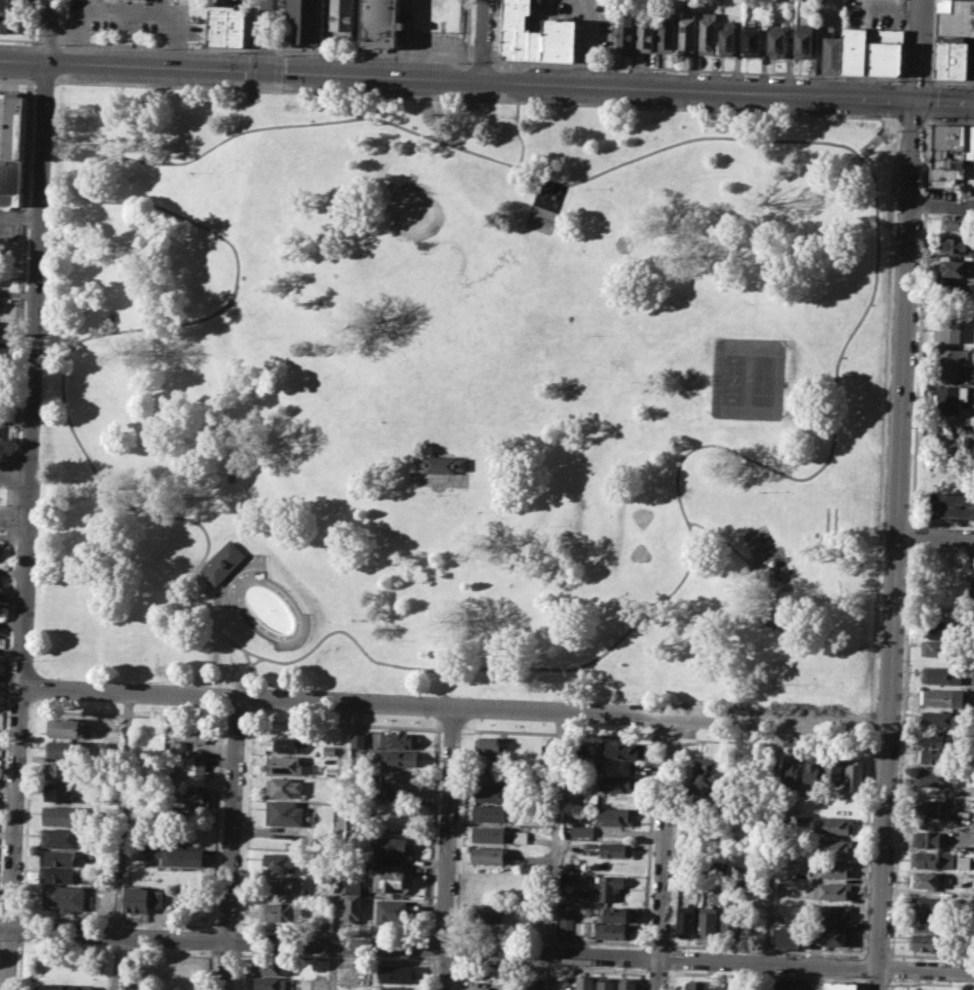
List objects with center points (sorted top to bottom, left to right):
building: (8, 5)
building: (342, 14)
park: (437, 15)
road: (129, 17)
building: (956, 17)
road: (62, 21)
building: (305, 21)
building: (7, 23)
building: (381, 23)
building: (518, 23)
building: (218, 24)
road: (280, 25)
building: (237, 26)
road: (47, 30)
building: (686, 31)
building: (665, 33)
building: (706, 33)
road: (264, 34)
road: (468, 34)
road: (33, 36)
street lamp: (35, 36)
building: (645, 37)
building: (559, 38)
building: (624, 38)
building: (726, 38)
road: (34, 40)
road: (46, 40)
road: (481, 40)
building: (777, 40)
road: (933, 40)
street lamp: (17, 41)
building: (750, 41)
building: (802, 41)
road: (64, 42)
building: (509, 42)
parking lot: (435, 43)
building: (535, 44)
road: (158, 46)
road: (252, 50)
road: (264, 50)
building: (855, 50)
road: (918, 50)
road: (278, 51)
building: (885, 51)
building: (830, 54)
road: (375, 56)
building: (944, 57)
building: (960, 59)
road: (63, 61)
road: (481, 61)
road: (251, 66)
road: (278, 68)
traffic signals: (263, 69)
road: (697, 69)
street lamp: (931, 69)
road: (17, 79)
road: (463, 79)
road: (57, 80)
road: (487, 80)
road: (895, 80)
road: (917, 80)
road: (952, 80)
road: (44, 81)
road: (250, 84)
road: (277, 85)
road: (252, 90)
road: (461, 94)
road: (475, 99)
road: (894, 100)
road: (471, 101)
street lamp: (586, 102)
street lamp: (54, 103)
street lamp: (806, 112)
road: (336, 120)
road: (894, 120)
road: (912, 121)
road: (949, 121)
road: (897, 123)
street lamp: (924, 126)
road: (889, 127)
building: (948, 136)
road: (802, 140)
building: (969, 142)
road: (868, 146)
building: (12, 148)
building: (938, 152)
building: (941, 162)
street lamp: (188, 171)
building: (945, 174)
street lamp: (50, 200)
road: (943, 204)
road: (178, 214)
street lamp: (921, 214)
building: (959, 221)
park: (417, 229)
building: (958, 244)
road: (23, 267)
building: (954, 267)
building: (955, 291)
street lamp: (45, 297)
street lamp: (746, 302)
park: (453, 306)
street lamp: (916, 315)
building: (947, 329)
street lamp: (587, 334)
building: (955, 364)
road: (33, 374)
park: (748, 378)
street lamp: (631, 380)
street lamp: (161, 384)
park: (466, 394)
street lamp: (41, 398)
building: (952, 399)
road: (884, 415)
road: (70, 423)
street lamp: (911, 426)
road: (7, 454)
building: (440, 463)
road: (14, 476)
street lamp: (0, 486)
road: (13, 494)
street lamp: (439, 495)
street lamp: (39, 498)
building: (953, 505)
street lamp: (909, 511)
park: (641, 516)
road: (13, 518)
street lamp: (924, 526)
road: (935, 536)
road: (5, 537)
road: (896, 544)
street lamp: (908, 551)
park: (640, 552)
road: (742, 555)
building: (223, 562)
street lamp: (36, 573)
road: (210, 583)
road: (639, 621)
building: (941, 630)
road: (221, 632)
street lamp: (394, 640)
building: (940, 648)
street lamp: (33, 660)
road: (256, 660)
street lamp: (902, 660)
road: (5, 665)
building: (941, 675)
street lamp: (49, 677)
street lamp: (147, 681)
street lamp: (243, 685)
street lamp: (342, 689)
street lamp: (447, 694)
building: (942, 697)
street lamp: (552, 699)
road: (249, 700)
street lamp: (647, 703)
road: (455, 707)
street lamp: (752, 707)
street lamp: (860, 713)
road: (126, 714)
building: (938, 718)
road: (224, 719)
road: (236, 719)
road: (343, 723)
road: (871, 723)
building: (69, 727)
street lamp: (245, 728)
road: (450, 728)
building: (189, 732)
road: (555, 732)
street lamp: (461, 733)
road: (665, 738)
building: (938, 738)
building: (356, 739)
building: (398, 739)
road: (774, 741)
street lamp: (678, 742)
building: (285, 743)
building: (492, 747)
building: (64, 748)
building: (329, 749)
building: (622, 750)
building: (937, 755)
building: (395, 757)
street lamp: (25, 764)
building: (286, 764)
building: (833, 769)
building: (60, 770)
building: (192, 771)
building: (811, 771)
building: (789, 773)
building: (854, 773)
building: (493, 776)
building: (938, 776)
building: (705, 777)
building: (399, 778)
building: (616, 782)
building: (283, 787)
building: (59, 792)
building: (490, 794)
building: (189, 799)
building: (932, 808)
road: (122, 813)
building: (489, 813)
building: (62, 814)
building: (288, 816)
building: (615, 816)
road: (244, 822)
building: (831, 824)
building: (581, 830)
road: (432, 833)
building: (497, 834)
road: (459, 835)
building: (61, 837)
road: (14, 839)
building: (929, 839)
road: (231, 843)
road: (339, 846)
building: (832, 846)
building: (391, 847)
road: (865, 847)
road: (446, 848)
building: (615, 849)
road: (555, 850)
road: (661, 853)
building: (177, 854)
building: (488, 855)
road: (770, 855)
building: (58, 856)
building: (933, 859)
building: (278, 860)
building: (963, 861)
building: (707, 867)
building: (832, 868)
street lamp: (20, 872)
building: (57, 873)
building: (104, 875)
building: (924, 879)
building: (390, 881)
building: (281, 883)
building: (607, 887)
building: (830, 890)
building: (63, 896)
building: (141, 898)
building: (927, 905)
building: (352, 909)
building: (281, 911)
building: (832, 911)
building: (392, 912)
building: (687, 912)
building: (485, 913)
building: (615, 913)
road: (9, 919)
building: (567, 919)
building: (708, 919)
building: (321, 920)
building: (732, 920)
building: (928, 923)
building: (605, 929)
road: (18, 930)
building: (790, 936)
building: (835, 936)
road: (212, 938)
road: (8, 940)
road: (239, 940)
building: (924, 941)
road: (428, 948)
road: (487, 949)
road: (454, 950)
street lamp: (18, 951)
road: (334, 958)
road: (116, 962)
road: (440, 962)
road: (19, 964)
building: (270, 966)
road: (549, 966)
road: (861, 966)
road: (209, 969)
road: (237, 969)
road: (656, 971)
building: (393, 972)
road: (426, 973)
road: (453, 974)
road: (764, 976)
road: (875, 981)
building: (537, 982)
building: (584, 982)
road: (860, 982)
building: (268, 983)
building: (606, 983)
building: (627, 983)
road: (930, 983)
building: (697, 985)
building: (839, 985)
building: (62, 986)
building: (395, 988)

